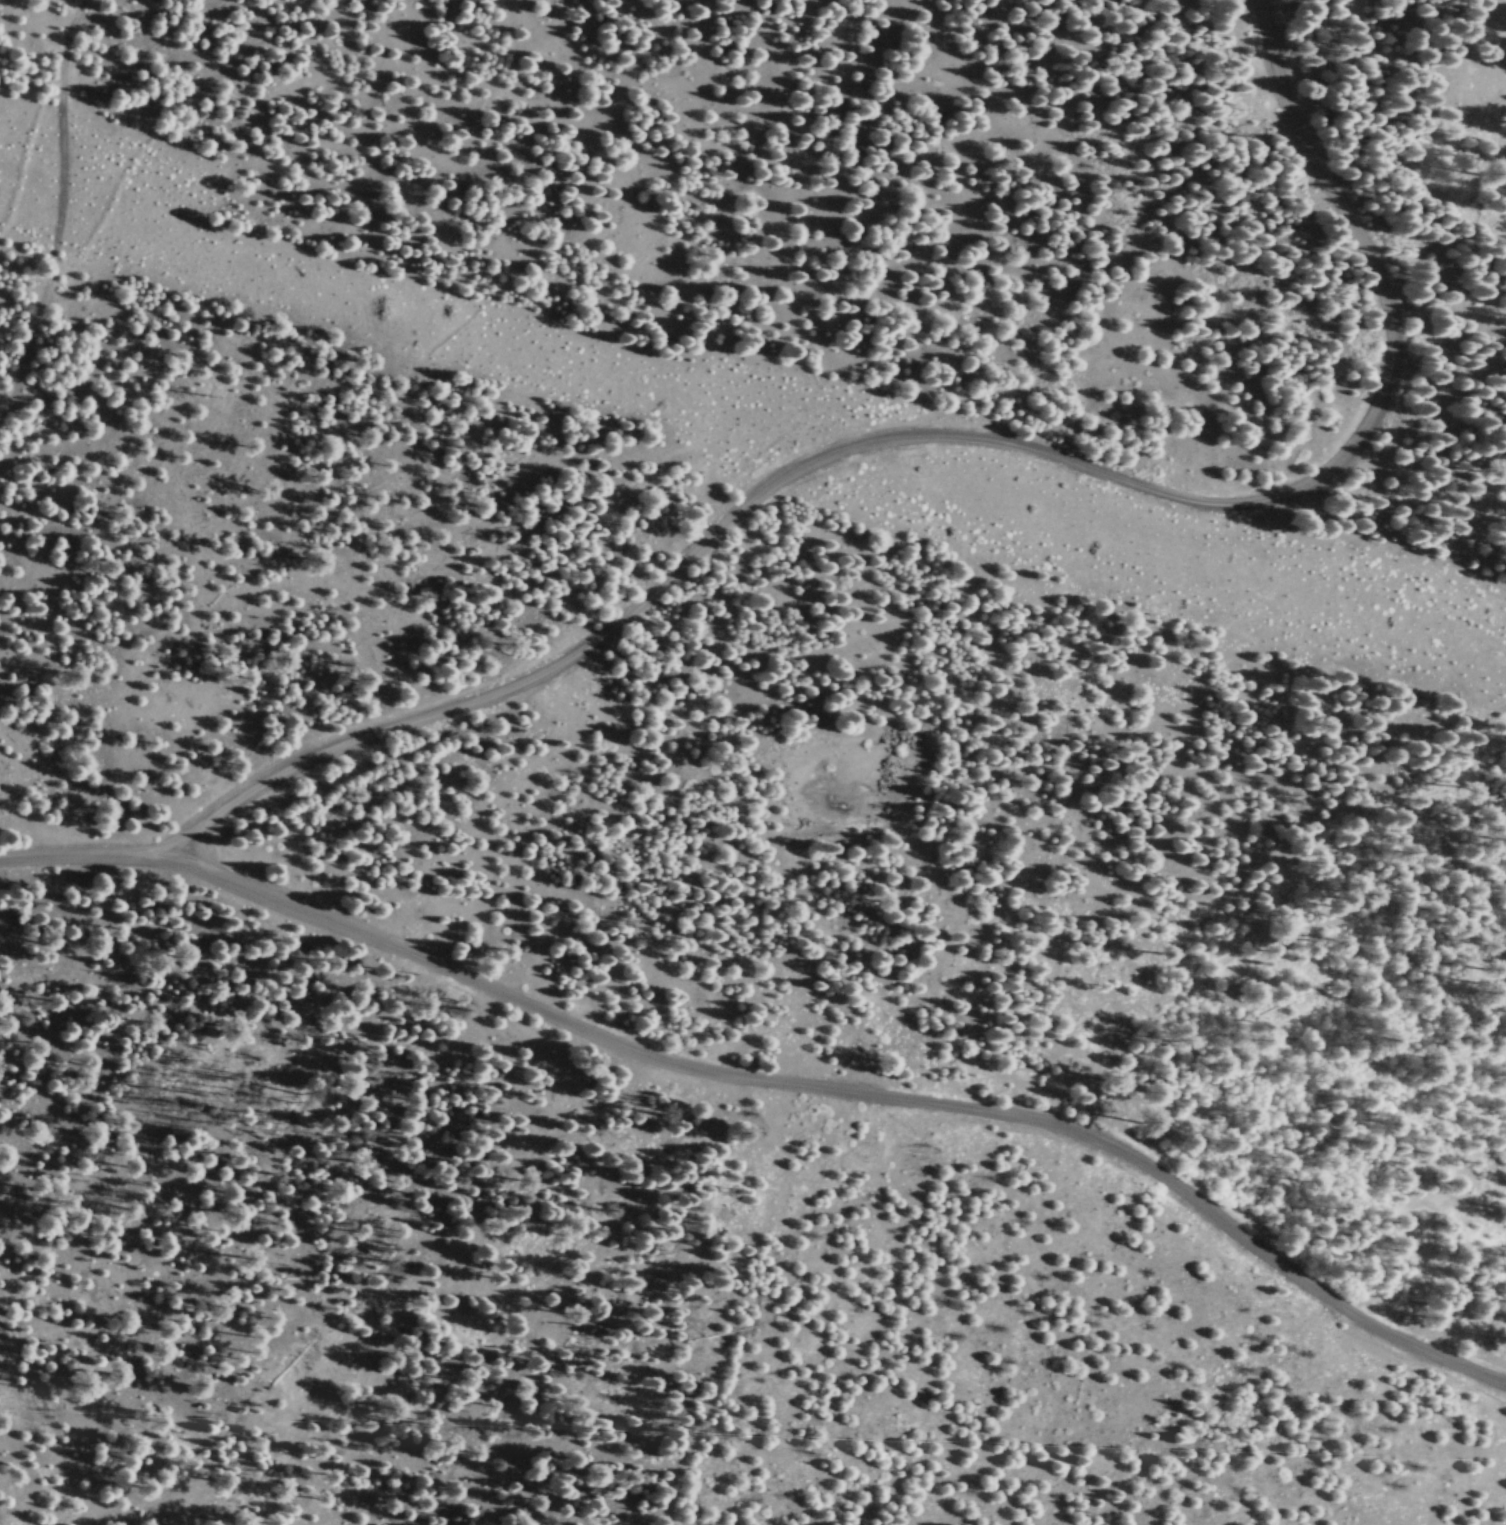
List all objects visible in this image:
road: (69, 198)
road: (953, 440)
road: (768, 1081)

